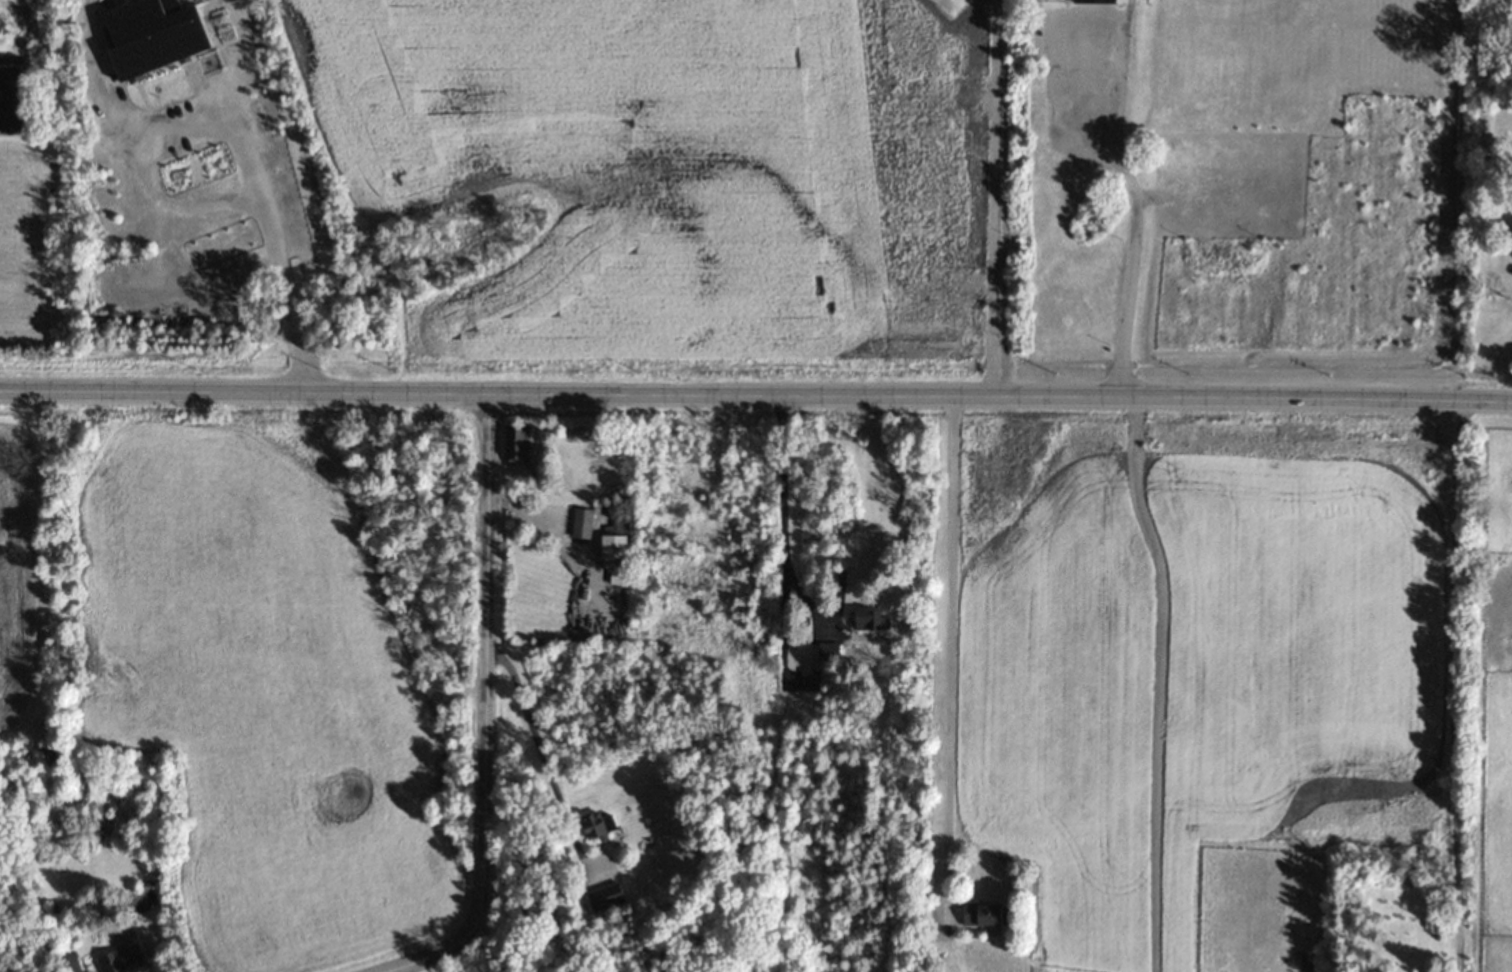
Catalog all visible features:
building: (1094, 0)
road: (1124, 12)
road: (1085, 24)
building: (153, 34)
road: (236, 53)
road: (1085, 58)
road: (93, 73)
road: (1085, 94)
road: (1058, 100)
road: (143, 102)
road: (179, 121)
crop: (618, 173)
road: (993, 202)
road: (172, 206)
road: (1131, 213)
road: (274, 252)
road: (755, 403)
building: (516, 446)
road: (786, 517)
building: (581, 523)
building: (615, 549)
building: (870, 620)
building: (827, 652)
road: (951, 652)
building: (810, 680)
crop: (1192, 681)
road: (1156, 686)
road: (1448, 689)
road: (484, 717)
road: (537, 746)
building: (597, 825)
building: (605, 897)
building: (981, 915)
building: (121, 959)
building: (71, 962)

